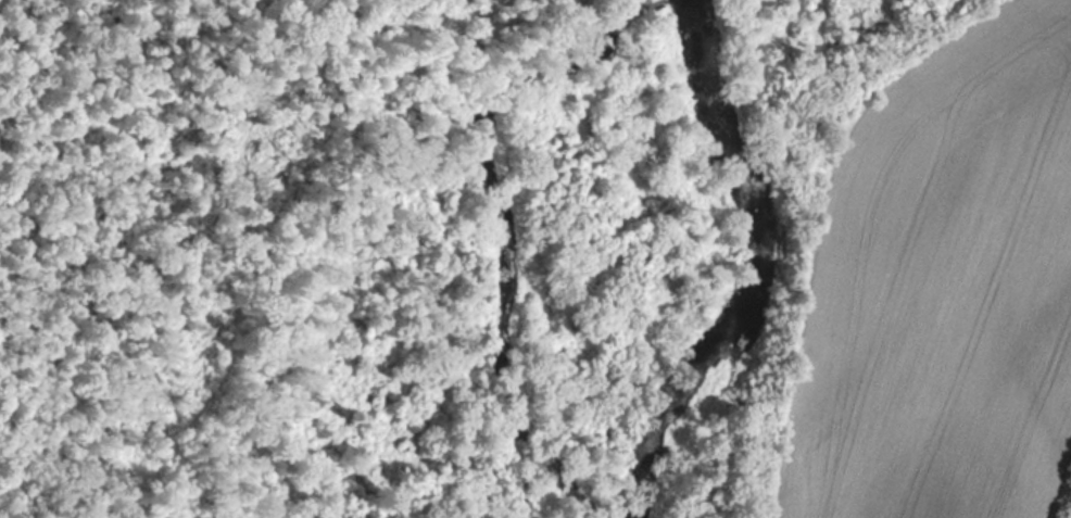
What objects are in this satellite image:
river: (755, 270)

